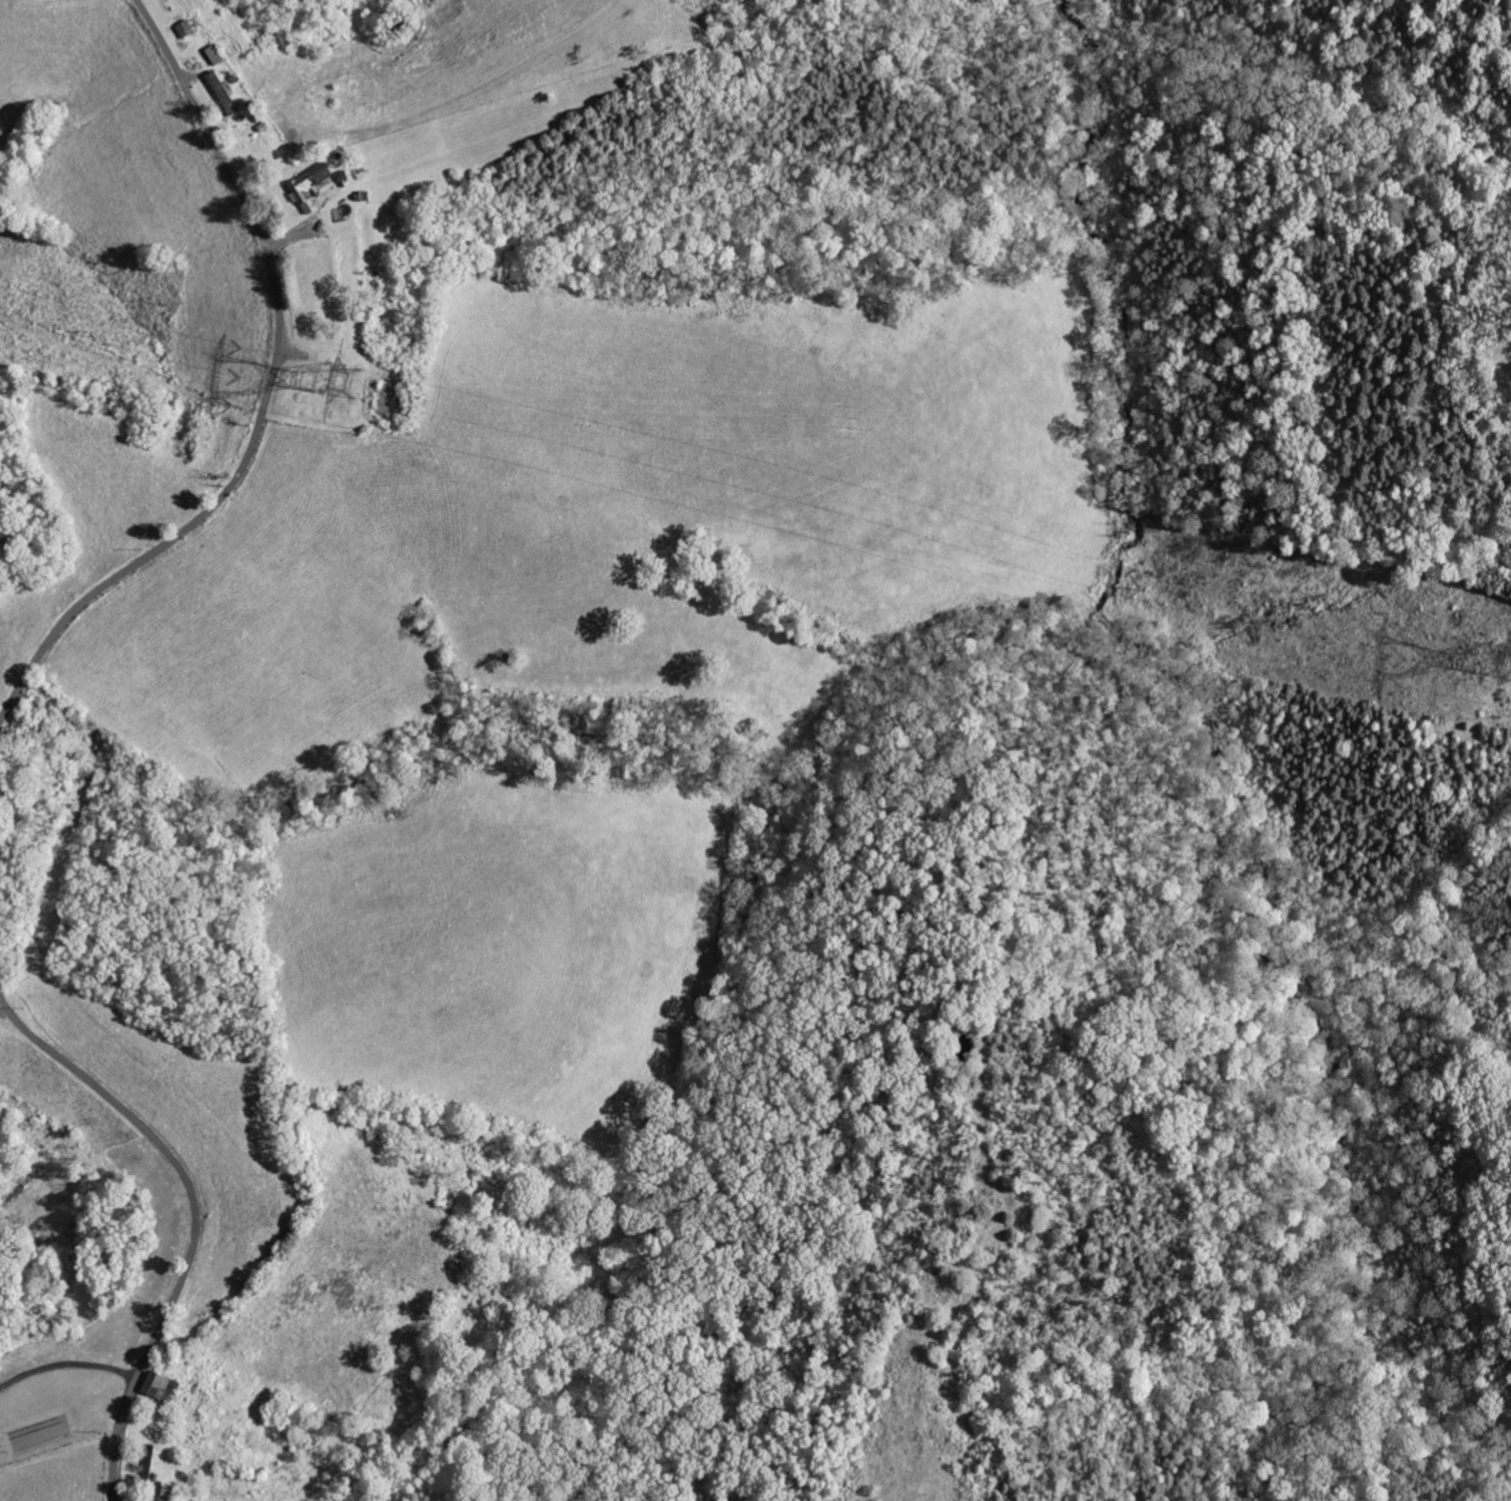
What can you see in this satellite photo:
building: (311, 187)
power tower: (341, 378)
road: (268, 398)
road: (196, 1213)
road: (68, 1365)
building: (164, 1386)

